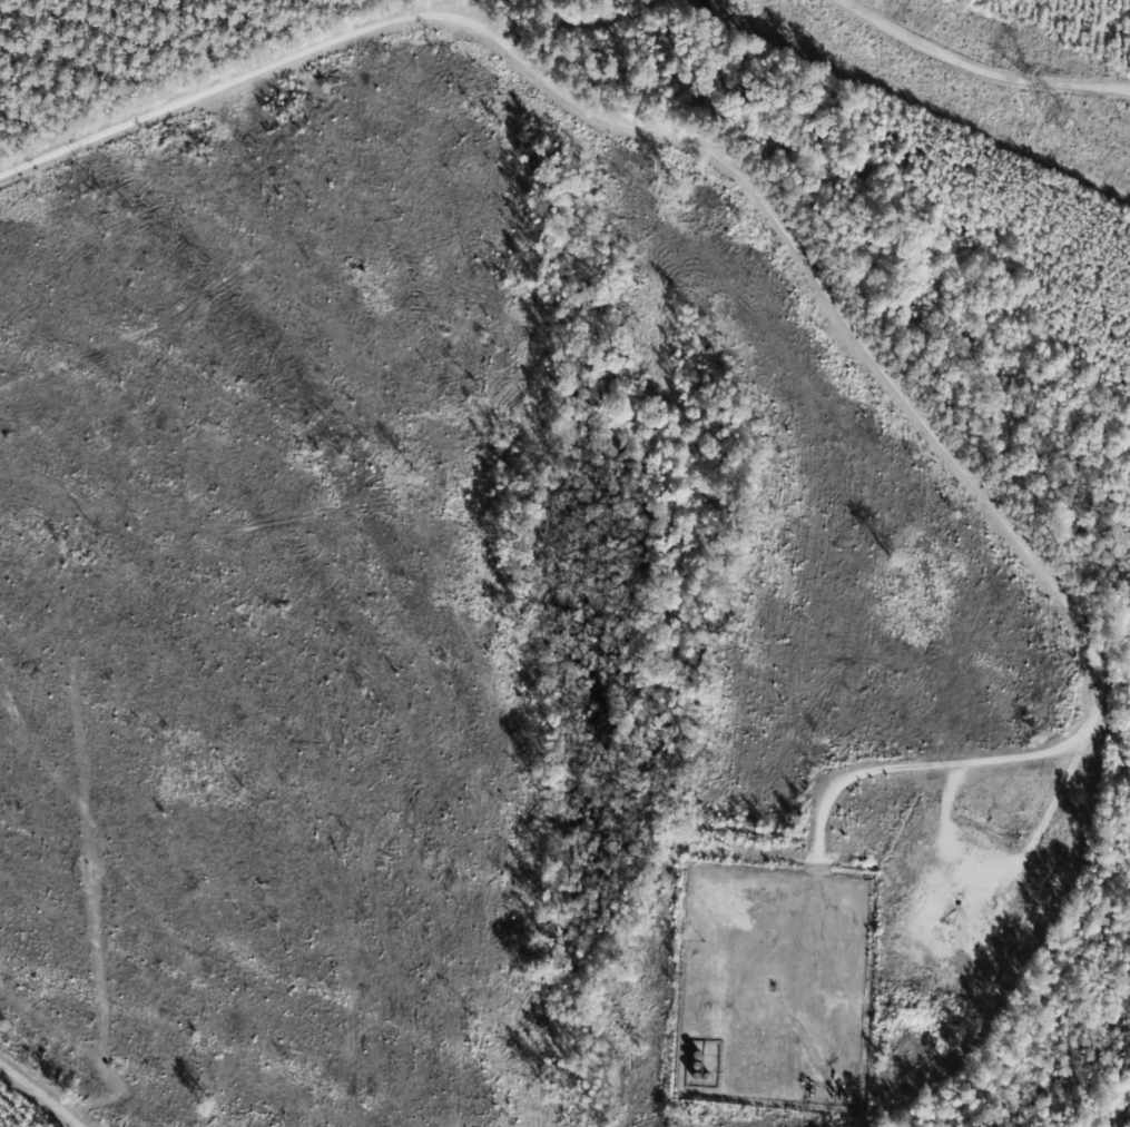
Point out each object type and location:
road: (639, 20)
road: (987, 46)
power tower: (1063, 116)
road: (847, 316)
road: (40, 1095)

